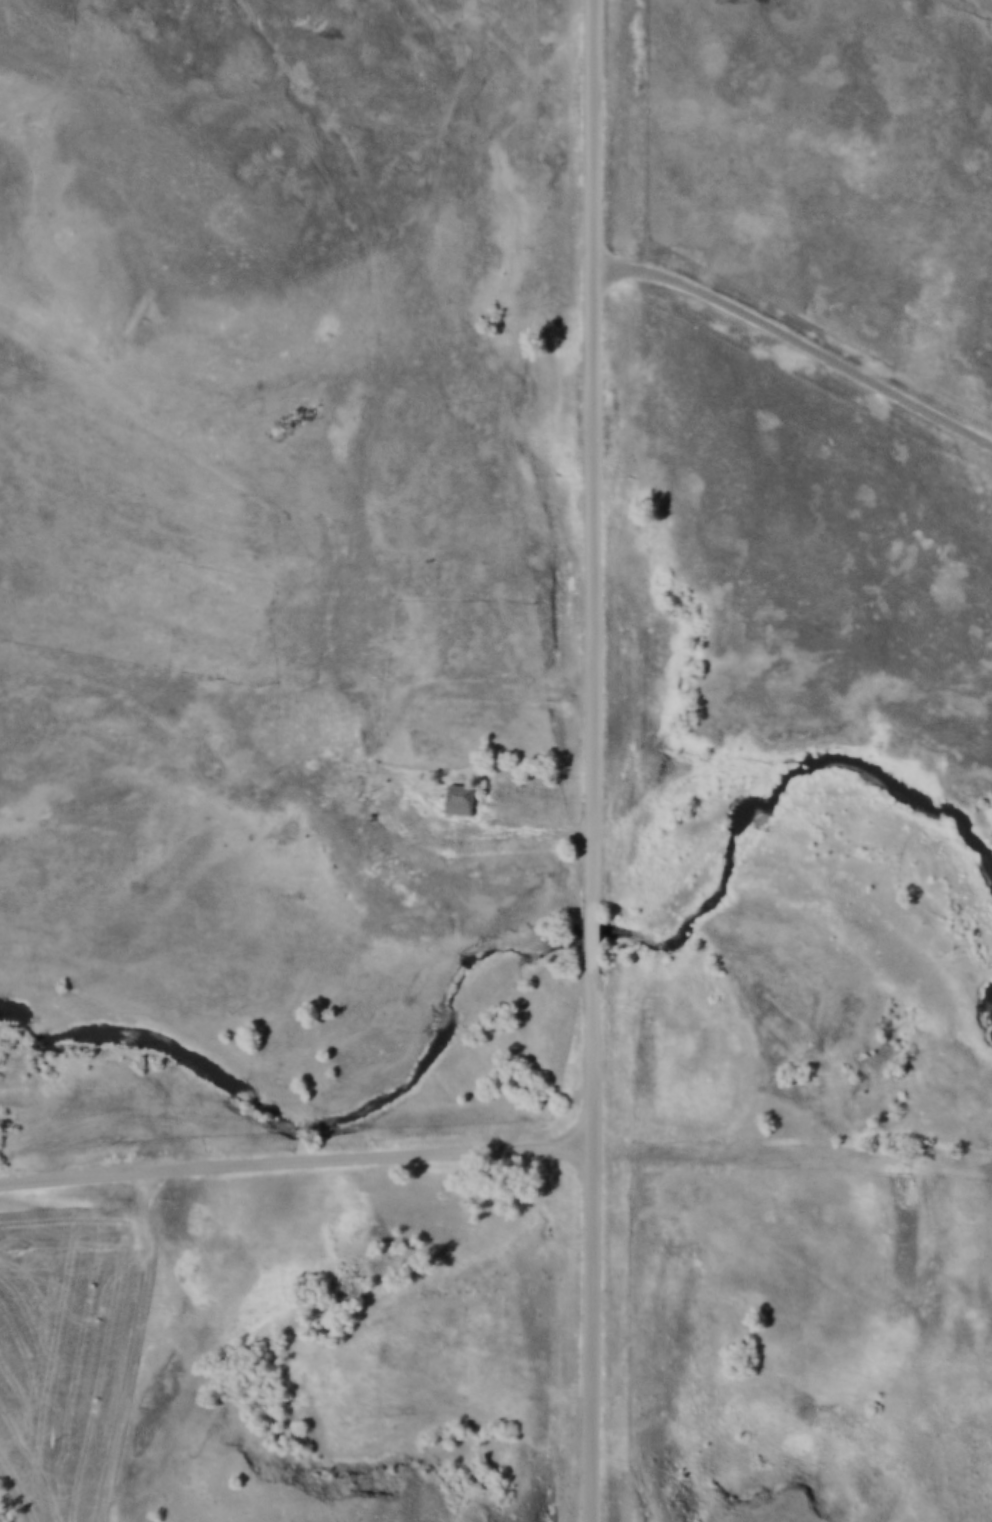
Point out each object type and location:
road: (799, 341)
road: (597, 450)
building: (377, 677)
road: (511, 689)
building: (311, 710)
building: (332, 787)
building: (461, 796)
road: (522, 830)
road: (600, 939)
road: (601, 1059)
road: (300, 1156)
road: (602, 1332)

